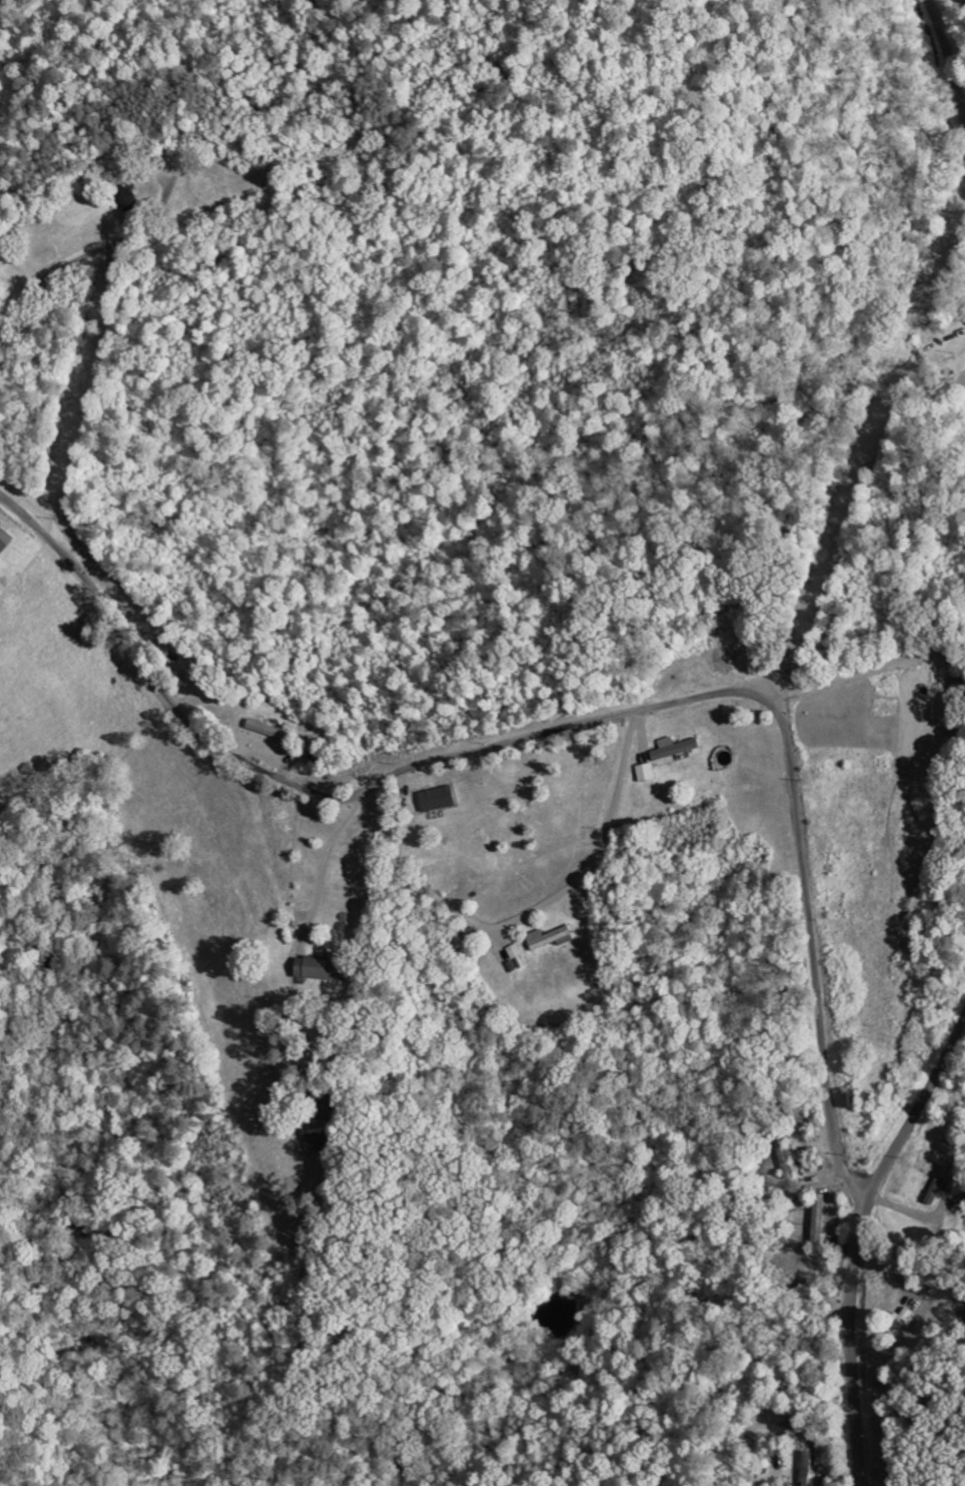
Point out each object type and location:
road: (944, 58)
building: (126, 197)
road: (89, 255)
building: (5, 542)
road: (574, 726)
building: (266, 731)
building: (675, 750)
building: (646, 774)
building: (439, 801)
building: (551, 940)
building: (517, 960)
building: (320, 969)
building: (849, 1100)
building: (316, 1138)
building: (786, 1161)
building: (936, 1192)
road: (862, 1243)
building: (807, 1469)

